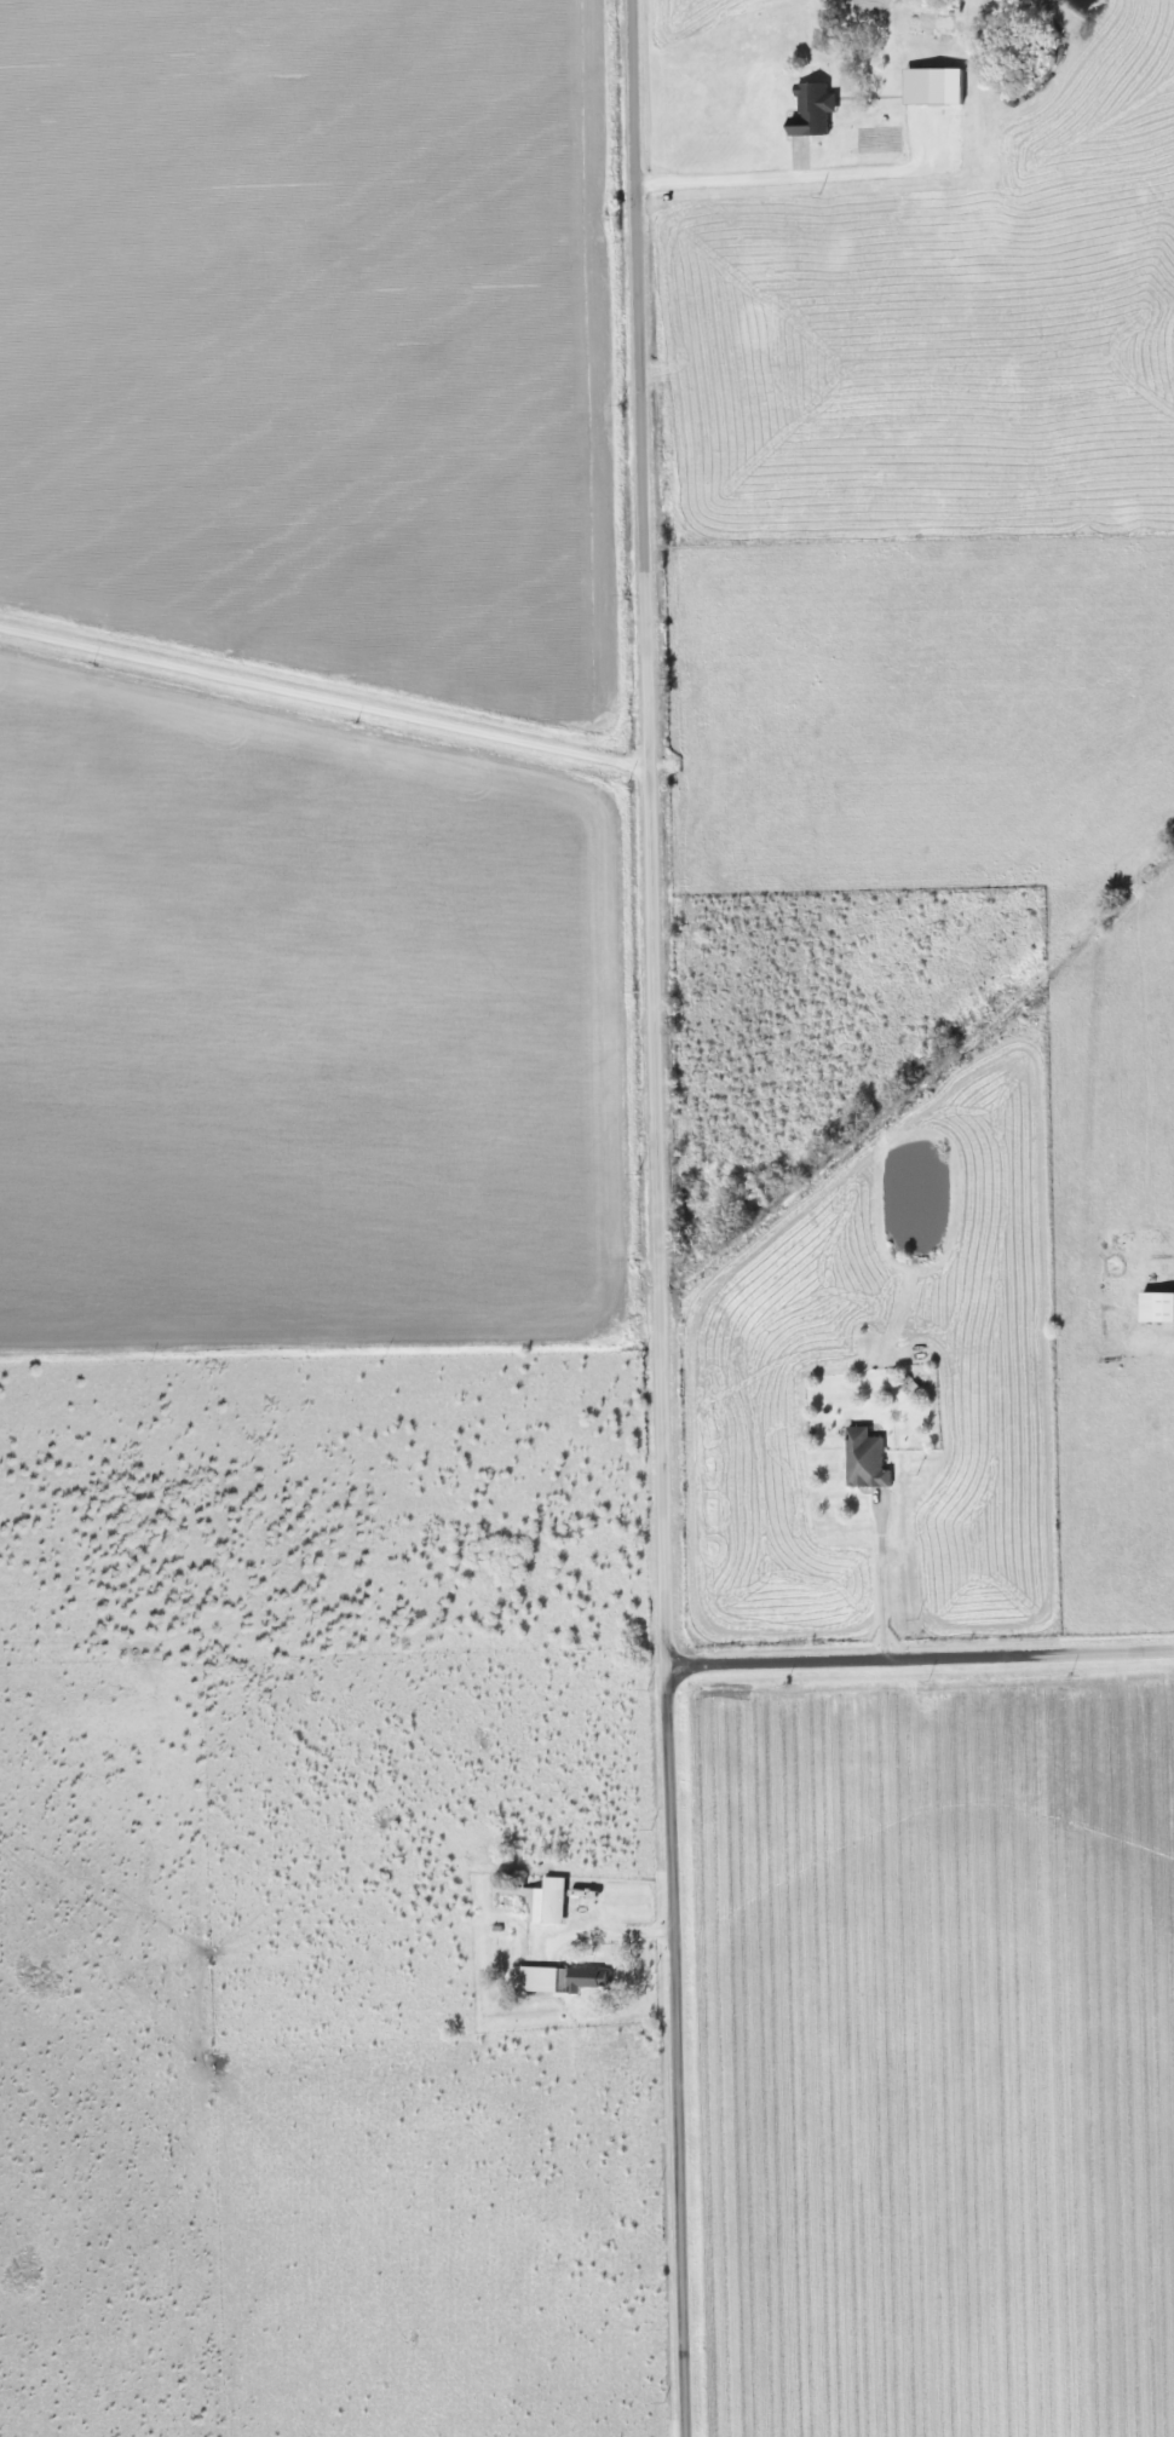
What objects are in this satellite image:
building: (926, 86)
building: (812, 110)
road: (785, 171)
road: (327, 698)
road: (662, 1218)
building: (1157, 1308)
building: (864, 1461)
road: (880, 1579)
road: (922, 1658)
building: (534, 1905)
road: (616, 1937)
building: (589, 1977)
building: (539, 1978)

